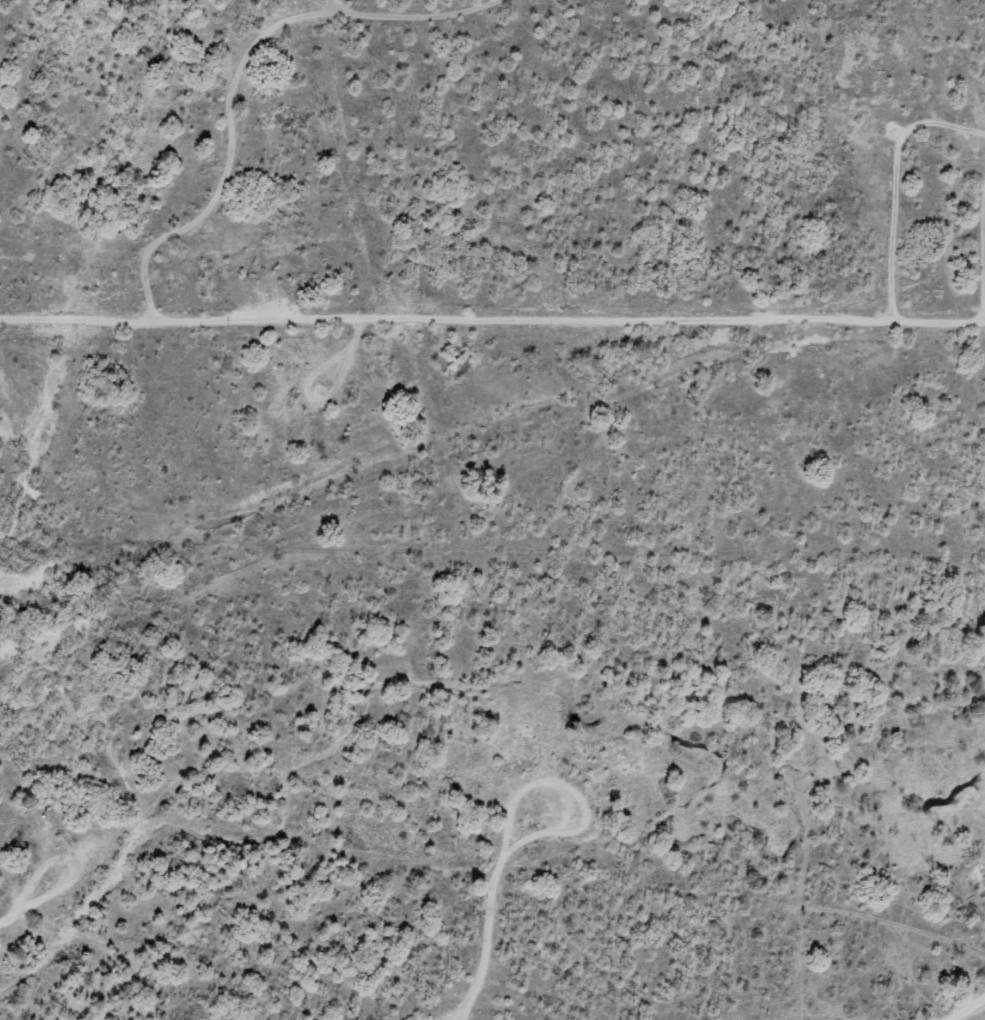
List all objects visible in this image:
road: (966, 41)
road: (266, 129)
railway: (496, 438)

